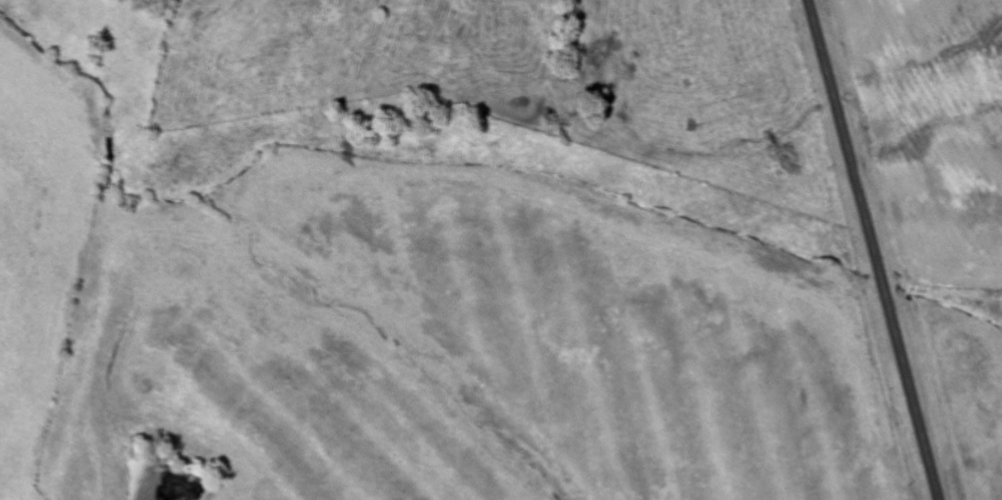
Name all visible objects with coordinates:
road: (843, 145)
road: (908, 395)

